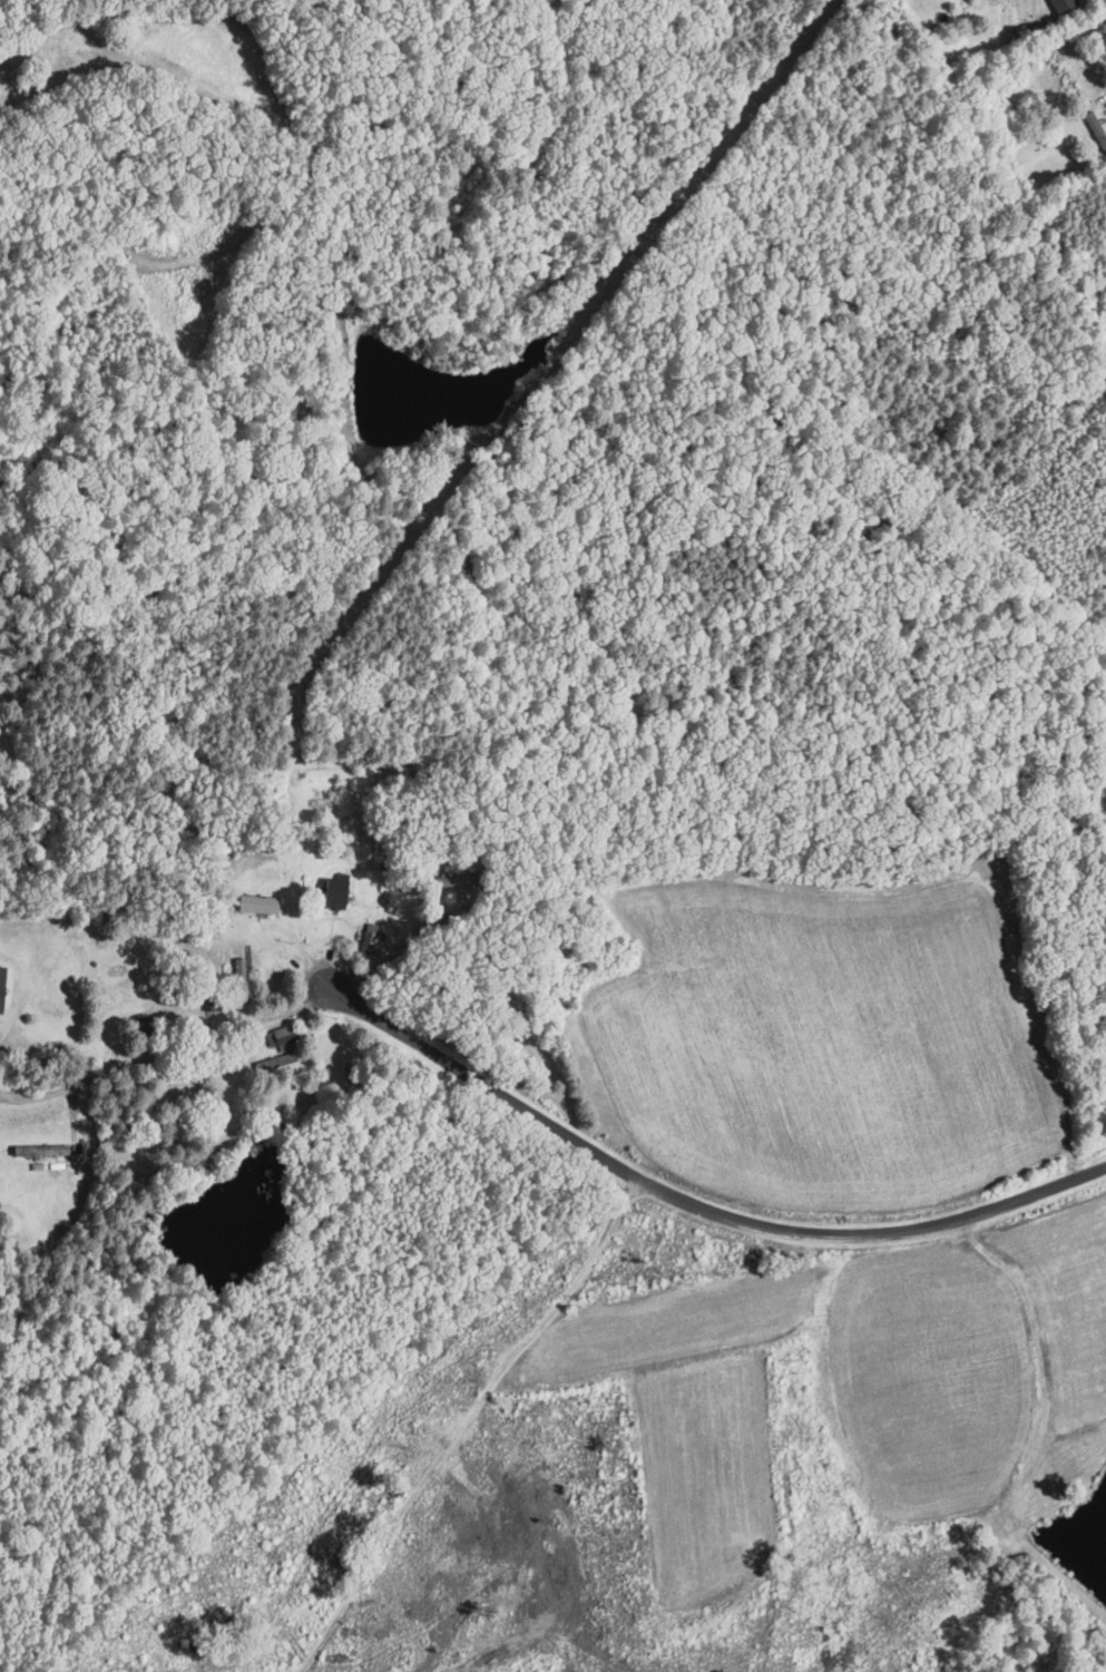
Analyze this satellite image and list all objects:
building: (1061, 6)
road: (320, 65)
building: (1060, 72)
building: (1096, 130)
building: (452, 882)
building: (333, 894)
building: (257, 906)
building: (239, 980)
building: (1, 989)
building: (141, 1029)
building: (283, 1036)
building: (39, 1152)
road: (688, 1204)
road: (458, 1419)

